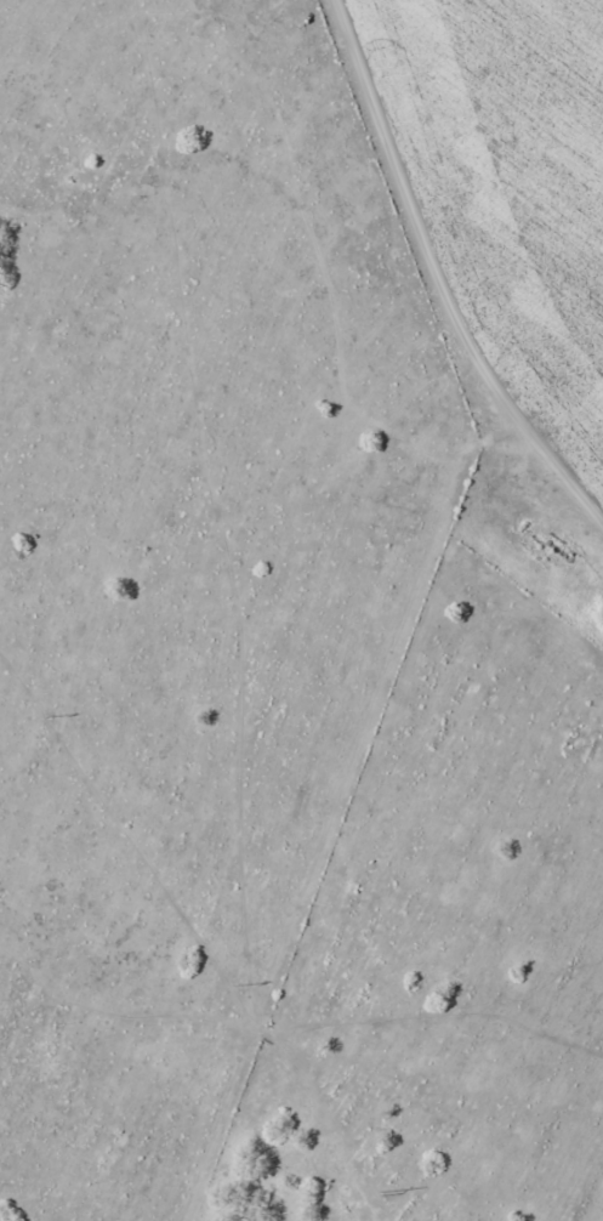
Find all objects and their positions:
road: (440, 289)

